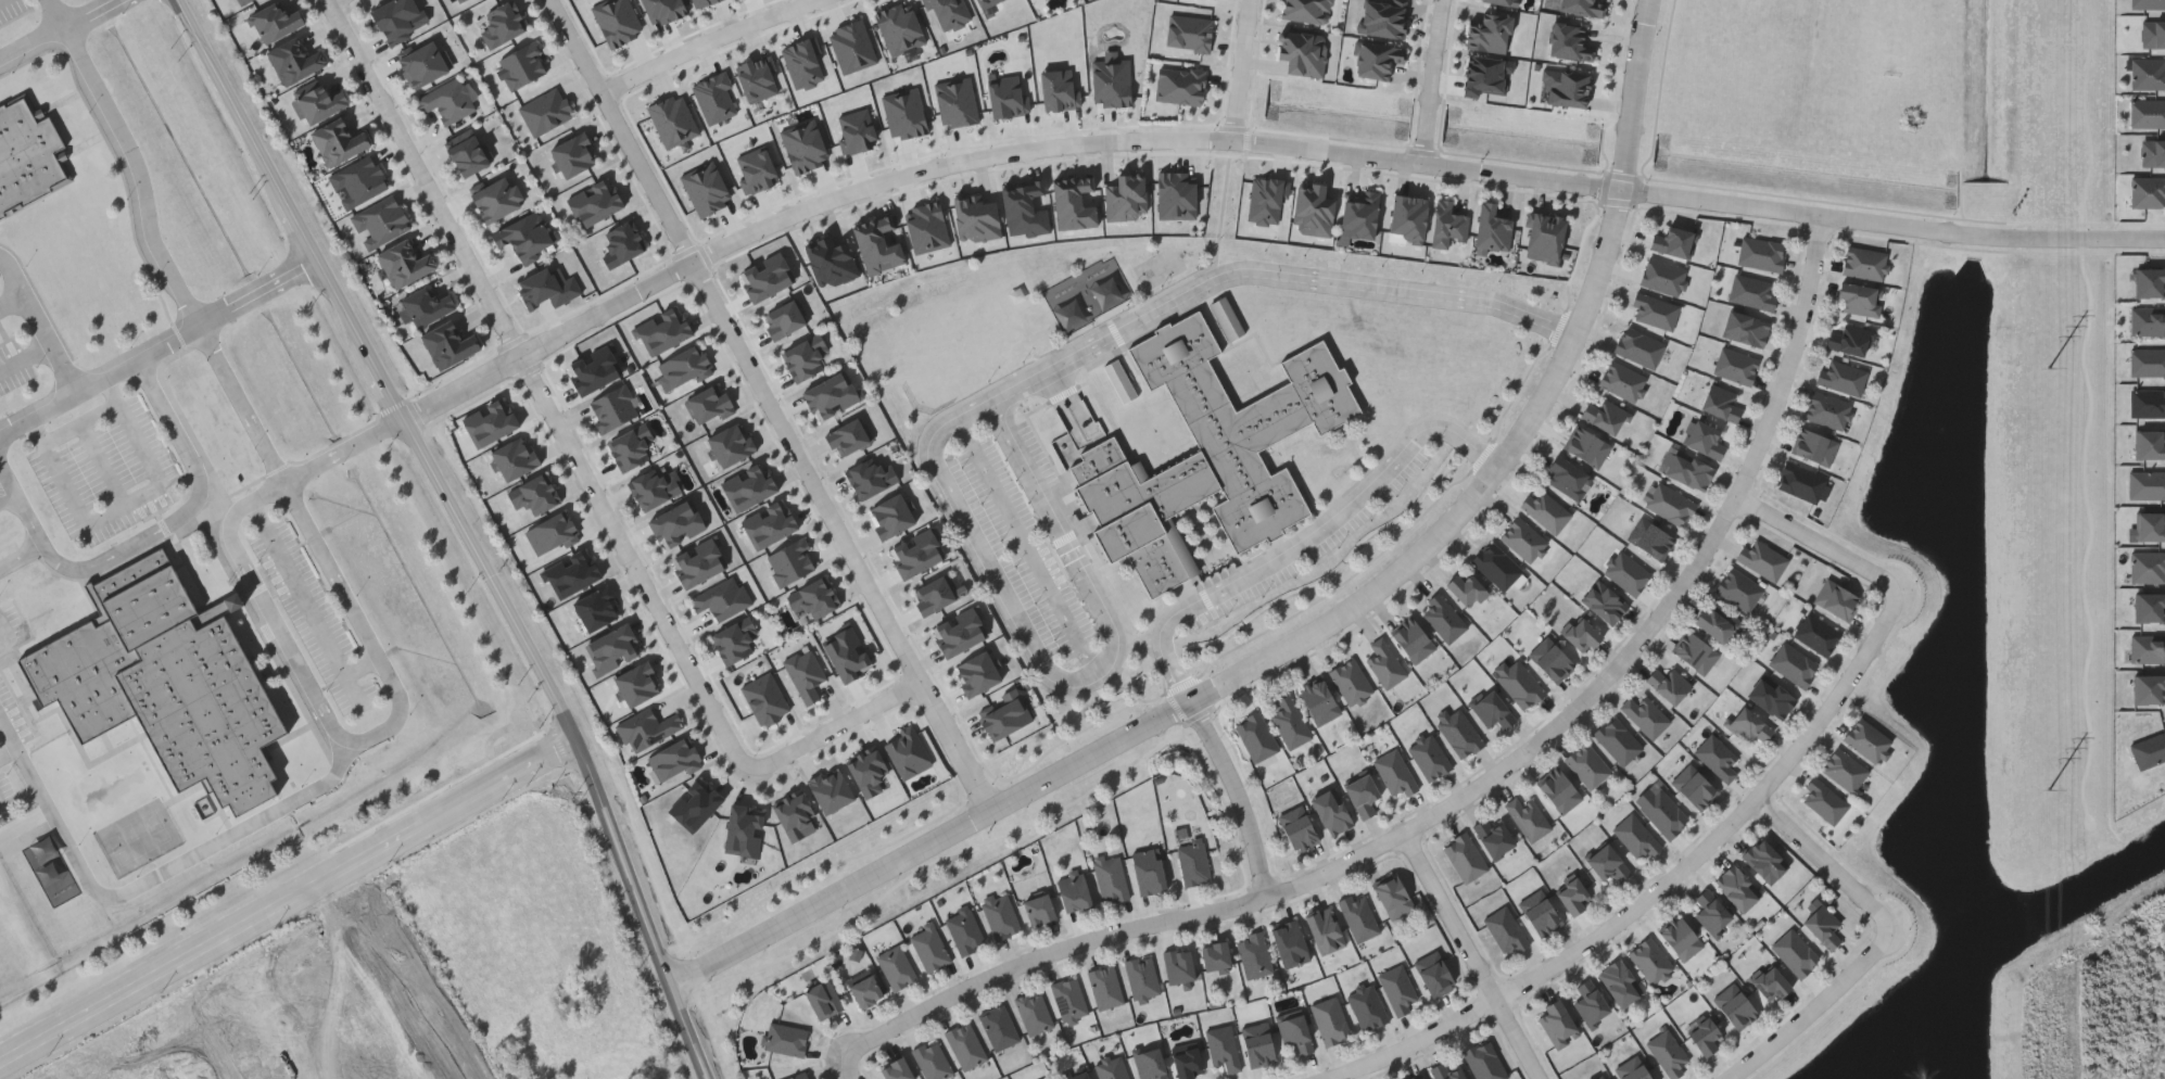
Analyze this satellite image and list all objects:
building: (239, 1)
building: (1497, 1)
road: (5, 2)
road: (332, 2)
building: (2148, 3)
building: (1581, 7)
parking lot: (14, 11)
building: (396, 17)
building: (276, 20)
road: (61, 33)
building: (2152, 34)
building: (1568, 41)
road: (707, 45)
building: (294, 59)
building: (421, 63)
road: (1242, 71)
building: (2148, 73)
building: (1484, 74)
road: (1434, 82)
building: (1563, 87)
road: (1663, 88)
building: (446, 99)
building: (318, 101)
building: (2148, 113)
building: (338, 140)
road: (1255, 144)
building: (2153, 152)
building: (467, 153)
building: (23, 161)
building: (358, 179)
building: (2148, 191)
building: (496, 196)
road: (1903, 202)
building: (1357, 215)
building: (1406, 215)
building: (380, 220)
building: (1547, 223)
building: (1446, 224)
building: (524, 234)
building: (1675, 241)
road: (154, 249)
building: (1760, 254)
building: (404, 261)
building: (1864, 263)
road: (16, 272)
road: (1273, 275)
building: (1662, 277)
building: (548, 284)
building: (1751, 292)
building: (1859, 299)
road: (14, 302)
building: (426, 303)
building: (1654, 312)
road: (41, 321)
building: (1229, 321)
building: (1744, 329)
building: (1847, 339)
building: (448, 343)
building: (1637, 347)
road: (51, 350)
road: (152, 355)
building: (1734, 367)
power tower: (2051, 367)
building: (1840, 377)
building: (1622, 381)
building: (1123, 384)
road: (539, 389)
building: (1720, 403)
road: (772, 406)
building: (1826, 410)
road: (2089, 412)
building: (1603, 414)
road: (84, 424)
building: (1704, 440)
building: (1586, 446)
building: (1813, 447)
road: (343, 454)
building: (1206, 454)
road: (109, 465)
parking lot: (107, 471)
building: (1688, 471)
building: (1567, 478)
building: (1799, 482)
road: (10, 500)
building: (1669, 504)
road: (129, 506)
building: (1545, 510)
road: (464, 530)
road: (1305, 536)
road: (149, 537)
building: (1649, 538)
building: (1522, 539)
road: (1066, 542)
road: (1821, 545)
road: (1027, 546)
building: (1761, 559)
building: (1496, 566)
road: (987, 568)
building: (1625, 572)
building: (1465, 588)
building: (1738, 588)
building: (1836, 599)
building: (1603, 601)
road: (309, 606)
road: (271, 612)
building: (1442, 618)
road: (1316, 621)
building: (1718, 623)
road: (363, 626)
building: (1581, 634)
building: (1815, 634)
building: (1411, 640)
building: (1695, 652)
building: (1550, 660)
building: (1383, 664)
building: (1793, 664)
building: (1350, 682)
building: (1519, 683)
building: (166, 684)
building: (1668, 684)
building: (1770, 697)
building: (1318, 702)
building: (1492, 711)
parking lot: (14, 715)
building: (1645, 715)
building: (1289, 723)
building: (1747, 725)
road: (837, 731)
building: (1459, 734)
building: (1254, 736)
building: (1617, 740)
building: (1866, 740)
road: (9, 756)
building: (1428, 757)
building: (1715, 758)
building: (1586, 765)
building: (1844, 770)
building: (1393, 773)
road: (1472, 787)
building: (1693, 787)
power tower: (2048, 790)
building: (1557, 791)
road: (1236, 792)
building: (1360, 796)
road: (301, 800)
parking lot: (10, 801)
building: (1823, 801)
road: (3, 810)
building: (1330, 812)
building: (1663, 815)
building: (1527, 820)
building: (1297, 828)
building: (1492, 838)
building: (1635, 838)
park: (140, 839)
building: (1464, 858)
building: (1763, 861)
building: (1192, 862)
road: (1827, 863)
building: (1607, 864)
road: (85, 872)
building: (1147, 872)
building: (1110, 879)
road: (1660, 884)
building: (1736, 888)
building: (1073, 891)
building: (1392, 897)
building: (1572, 897)
road: (287, 898)
road: (374, 899)
building: (1037, 910)
road: (356, 911)
building: (1539, 913)
building: (1710, 913)
building: (999, 916)
building: (1357, 916)
building: (1822, 926)
building: (1324, 930)
building: (1504, 930)
building: (964, 931)
building: (1680, 939)
building: (1288, 943)
building: (928, 948)
building: (1253, 954)
road: (1472, 954)
building: (1794, 954)
building: (1214, 956)
building: (1649, 961)
building: (1177, 966)
building: (896, 967)
building: (1433, 974)
building: (1141, 977)
building: (1618, 982)
building: (1770, 985)
building: (1104, 987)
building: (1396, 990)
building: (864, 991)
building: (1068, 998)
building: (822, 999)
building: (1588, 1002)
building: (1734, 1006)
road: (1814, 1006)
building: (1366, 1007)
road: (435, 1010)
building: (1033, 1012)
building: (1329, 1020)
building: (1557, 1024)
building: (998, 1028)
building: (1294, 1033)
building: (1704, 1036)
building: (785, 1039)
building: (1256, 1044)
building: (964, 1045)
building: (1221, 1048)
road: (233, 1049)
building: (1667, 1053)
building: (932, 1061)
building: (1483, 1062)
building: (1186, 1063)
building: (1149, 1064)
road: (844, 1065)
building: (1111, 1068)
building: (895, 1069)
building: (1631, 1069)
building: (1445, 1071)
building: (1074, 1074)
building: (798, 1077)
building: (1416, 1077)
building: (1599, 1077)
building: (1044, 1078)
building: (1422, 1078)
building: (1604, 1078)

